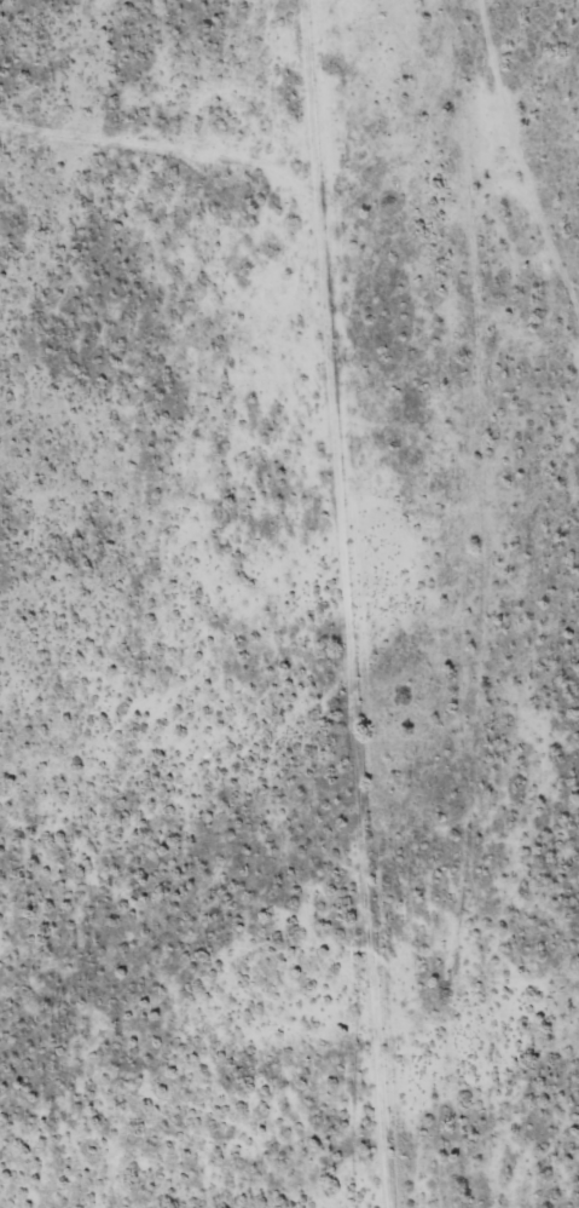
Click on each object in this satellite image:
road: (465, 604)

